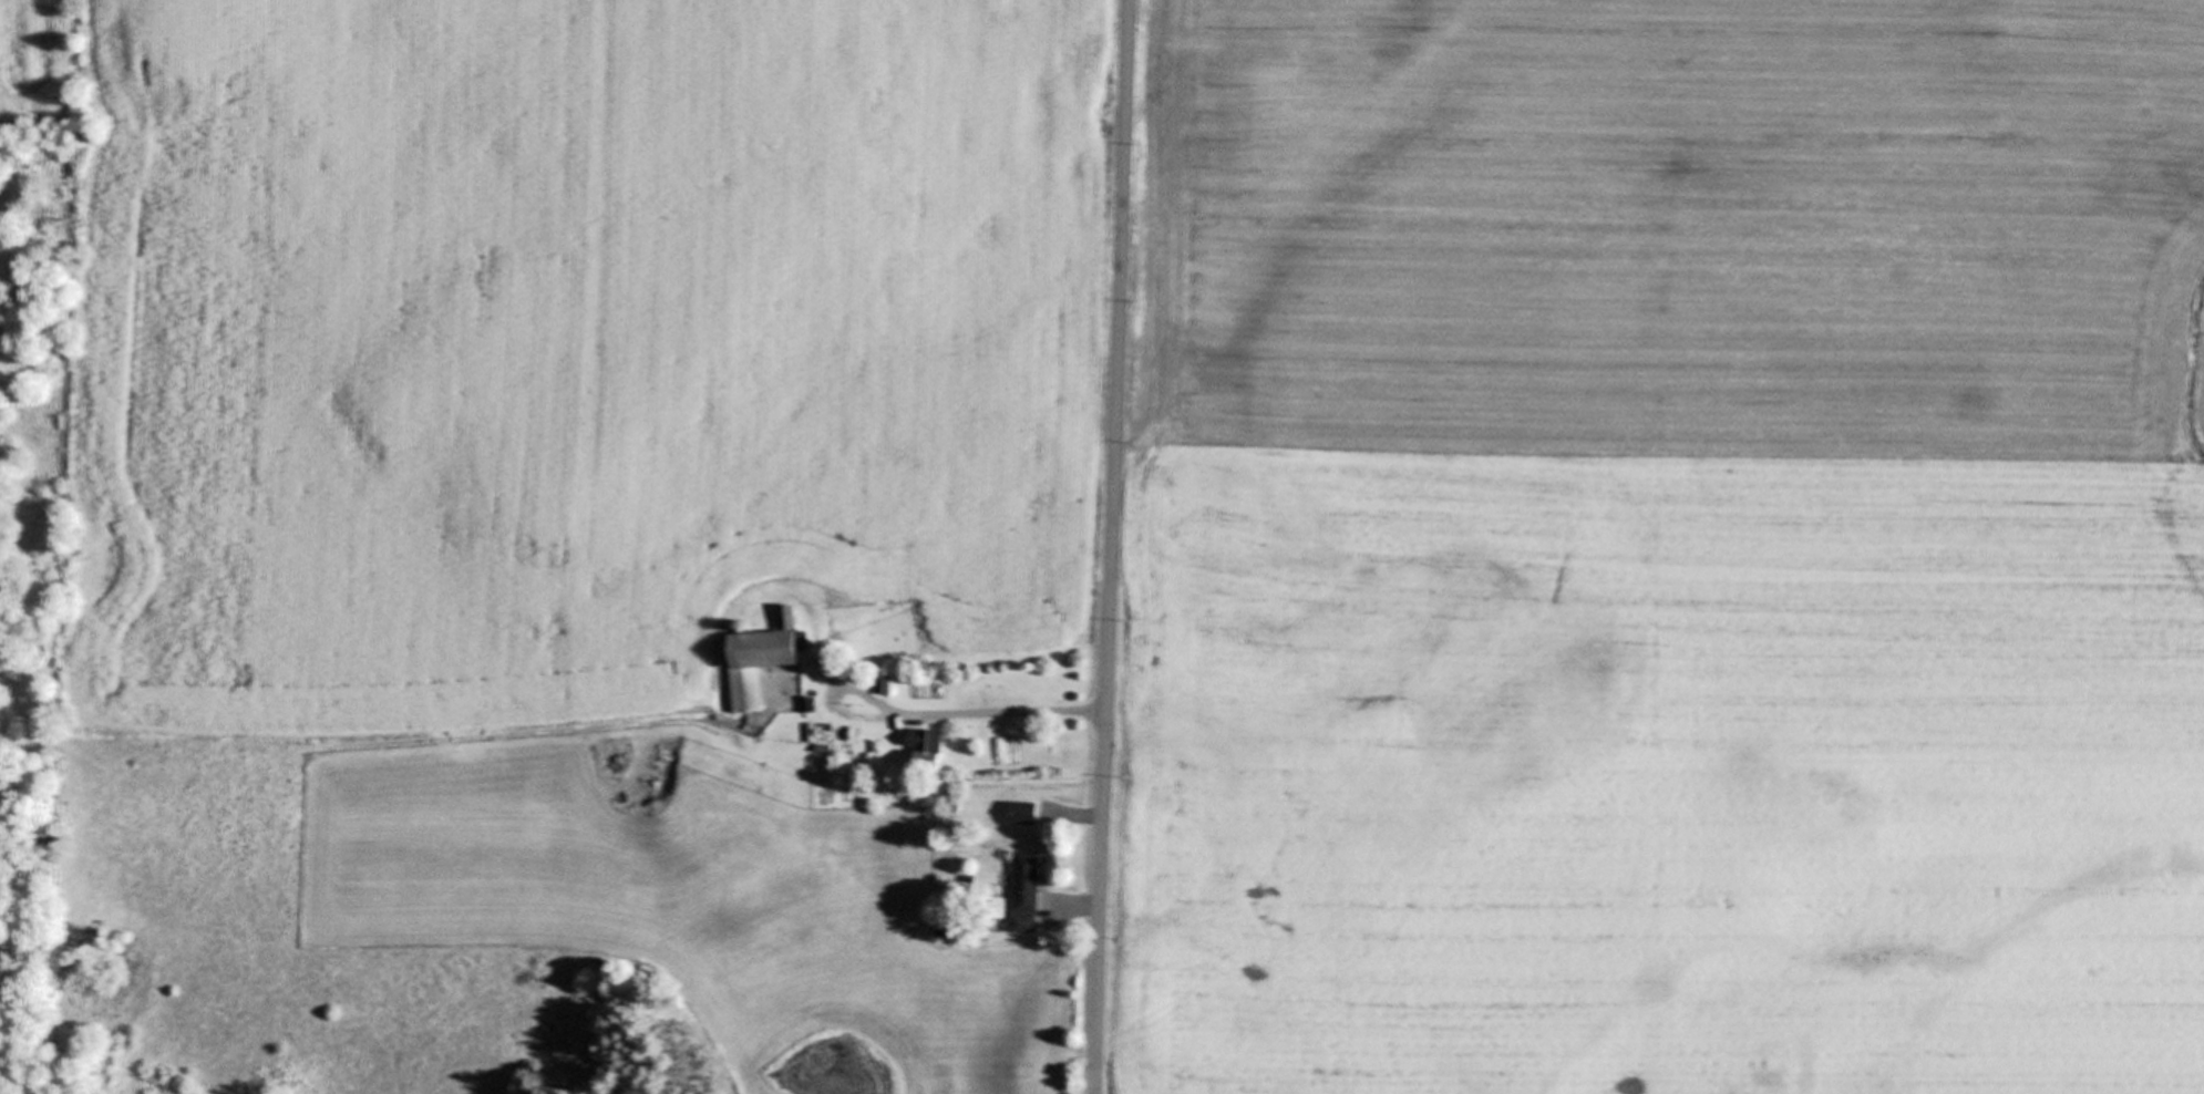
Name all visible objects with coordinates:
road: (1109, 547)
building: (768, 656)
road: (968, 711)
building: (837, 730)
building: (930, 749)
building: (1027, 812)
road: (1082, 813)
building: (1030, 890)
road: (1082, 905)

